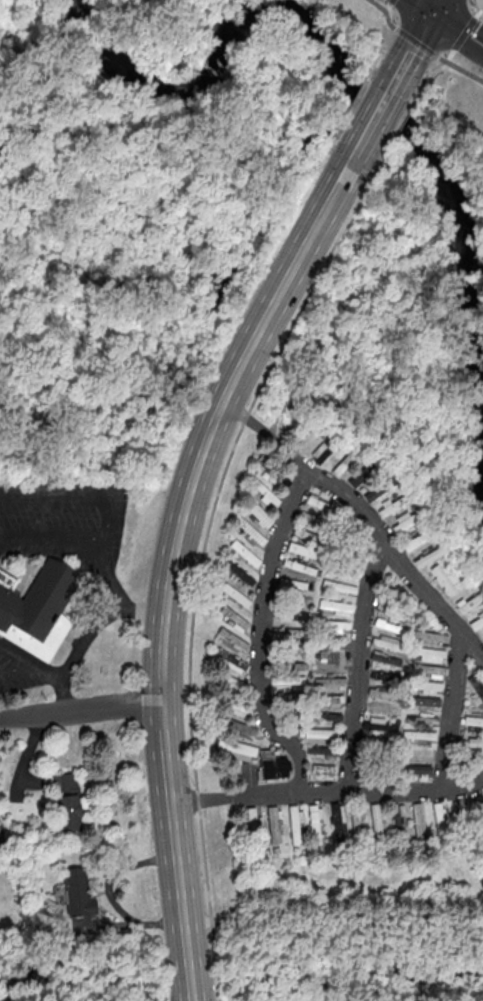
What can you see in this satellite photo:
road: (423, 5)
road: (435, 5)
road: (476, 5)
traffic signals: (432, 11)
road: (478, 13)
river: (267, 17)
road: (457, 28)
road: (463, 34)
road: (420, 46)
road: (409, 50)
road: (442, 64)
river: (163, 93)
river: (400, 121)
road: (371, 122)
road: (398, 126)
road: (341, 176)
park: (247, 230)
river: (480, 402)
road: (246, 423)
building: (306, 439)
building: (320, 453)
building: (345, 461)
building: (272, 472)
building: (363, 473)
building: (263, 492)
building: (319, 503)
building: (393, 504)
building: (257, 513)
building: (405, 520)
building: (248, 529)
building: (308, 535)
road: (49, 538)
building: (416, 540)
road: (382, 544)
building: (303, 550)
building: (244, 553)
building: (428, 556)
building: (333, 564)
building: (299, 566)
road: (200, 573)
building: (239, 574)
road: (109, 577)
building: (442, 579)
road: (167, 583)
building: (294, 583)
building: (338, 586)
building: (236, 595)
building: (298, 599)
building: (469, 601)
building: (334, 607)
building: (38, 608)
building: (291, 614)
building: (233, 618)
building: (476, 621)
road: (99, 623)
building: (333, 625)
building: (390, 625)
road: (263, 630)
building: (430, 636)
building: (232, 639)
building: (388, 643)
building: (428, 654)
road: (17, 655)
building: (331, 657)
building: (386, 659)
building: (229, 660)
road: (30, 668)
road: (355, 669)
building: (429, 671)
building: (388, 677)
building: (287, 679)
building: (330, 681)
building: (231, 683)
building: (425, 686)
building: (476, 686)
building: (384, 693)
road: (62, 695)
building: (328, 700)
building: (425, 701)
building: (234, 706)
building: (382, 708)
road: (79, 710)
road: (452, 712)
building: (323, 716)
building: (421, 720)
building: (474, 723)
building: (380, 724)
building: (239, 728)
building: (320, 733)
building: (419, 735)
building: (474, 743)
building: (238, 750)
building: (321, 752)
building: (419, 754)
building: (472, 761)
building: (271, 765)
building: (322, 768)
building: (415, 770)
road: (359, 795)
building: (68, 801)
road: (202, 802)
building: (479, 804)
building: (462, 816)
building: (398, 819)
building: (439, 819)
building: (376, 820)
building: (337, 821)
building: (418, 821)
building: (253, 822)
building: (273, 824)
building: (314, 824)
building: (295, 825)
building: (77, 891)

